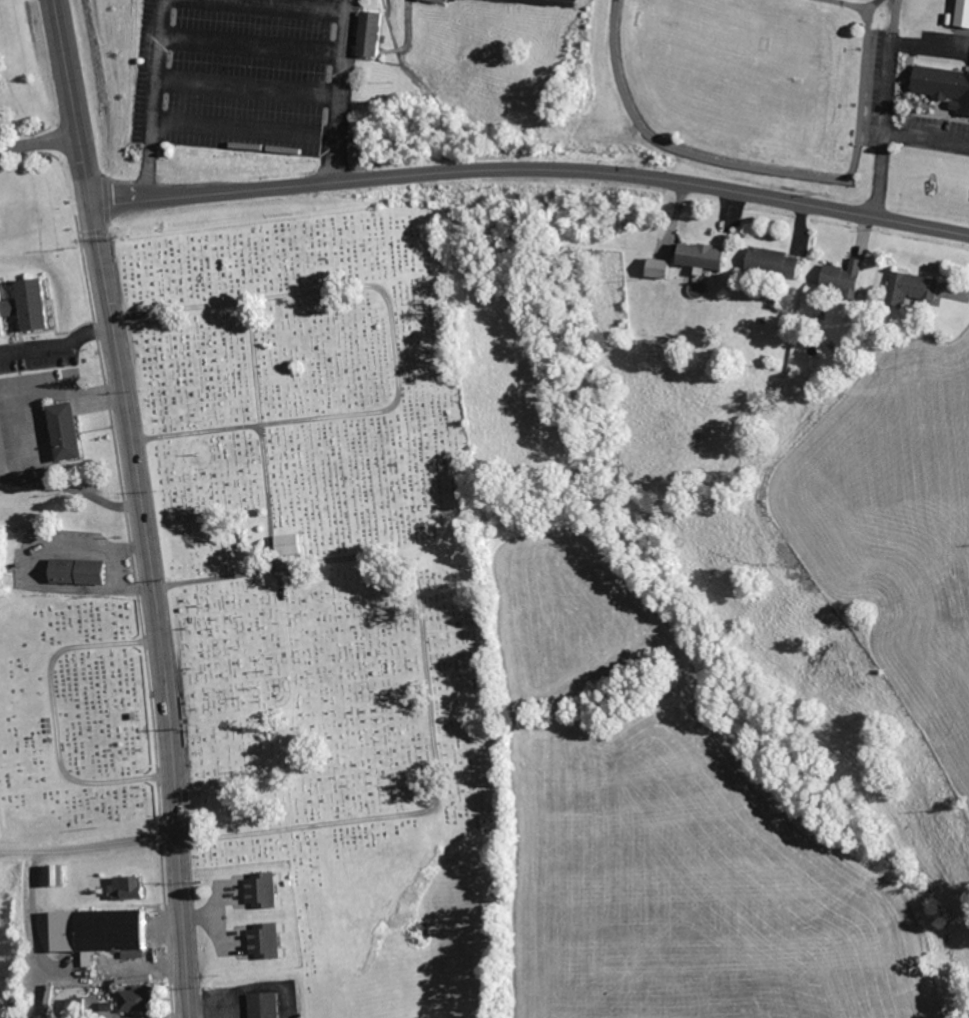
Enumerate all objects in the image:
building: (438, 0)
park: (966, 0)
road: (288, 6)
building: (960, 13)
building: (372, 35)
road: (251, 44)
building: (943, 85)
road: (248, 87)
park: (747, 87)
road: (343, 88)
road: (885, 96)
road: (150, 99)
road: (70, 101)
road: (244, 129)
road: (38, 141)
road: (888, 145)
road: (530, 166)
building: (705, 254)
building: (776, 260)
building: (659, 267)
building: (845, 275)
building: (914, 286)
building: (26, 306)
road: (57, 346)
building: (66, 431)
building: (3, 443)
building: (294, 543)
building: (78, 570)
park: (329, 587)
road: (155, 608)
park: (70, 717)
building: (53, 875)
building: (126, 888)
building: (262, 889)
building: (100, 932)
building: (266, 940)
building: (135, 998)
building: (265, 1005)
building: (78, 1006)

